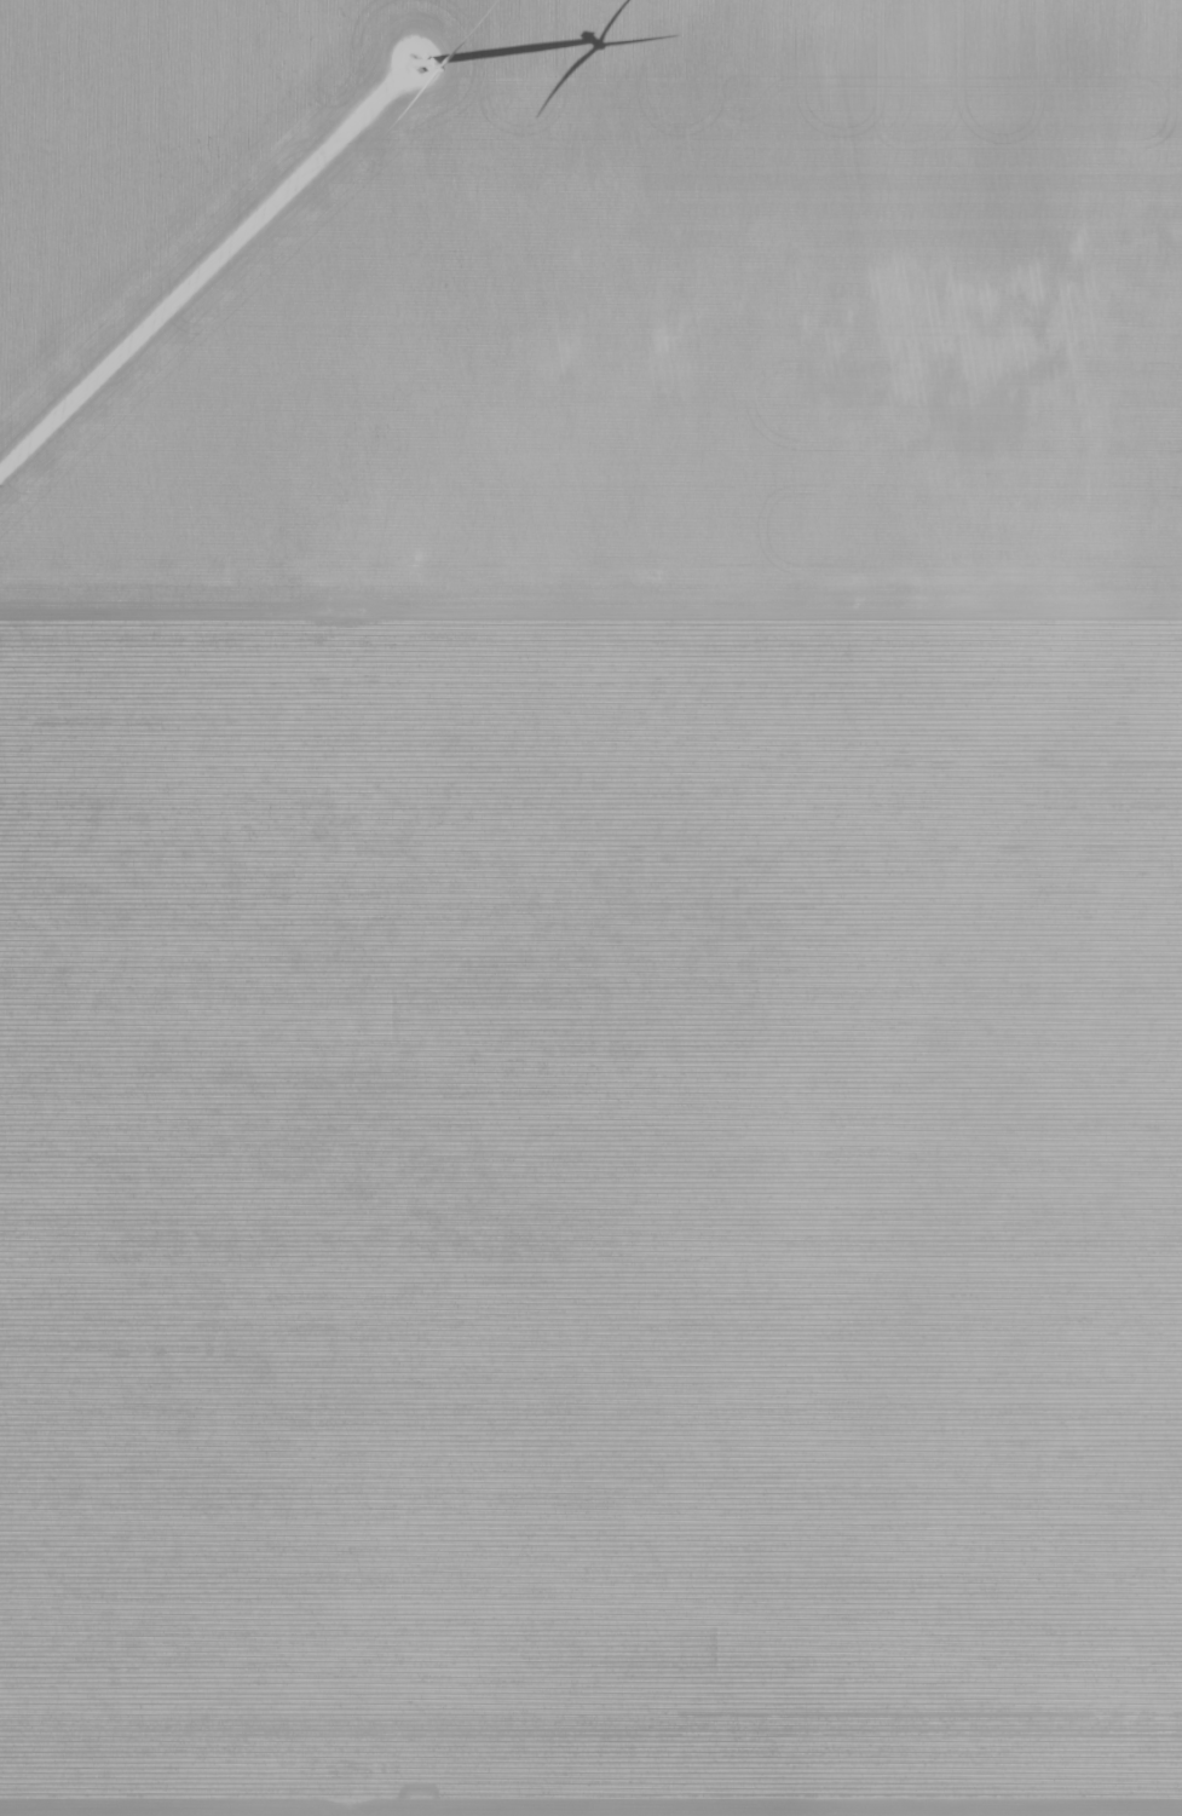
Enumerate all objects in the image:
wind turbine: (411, 60)
road: (206, 266)

